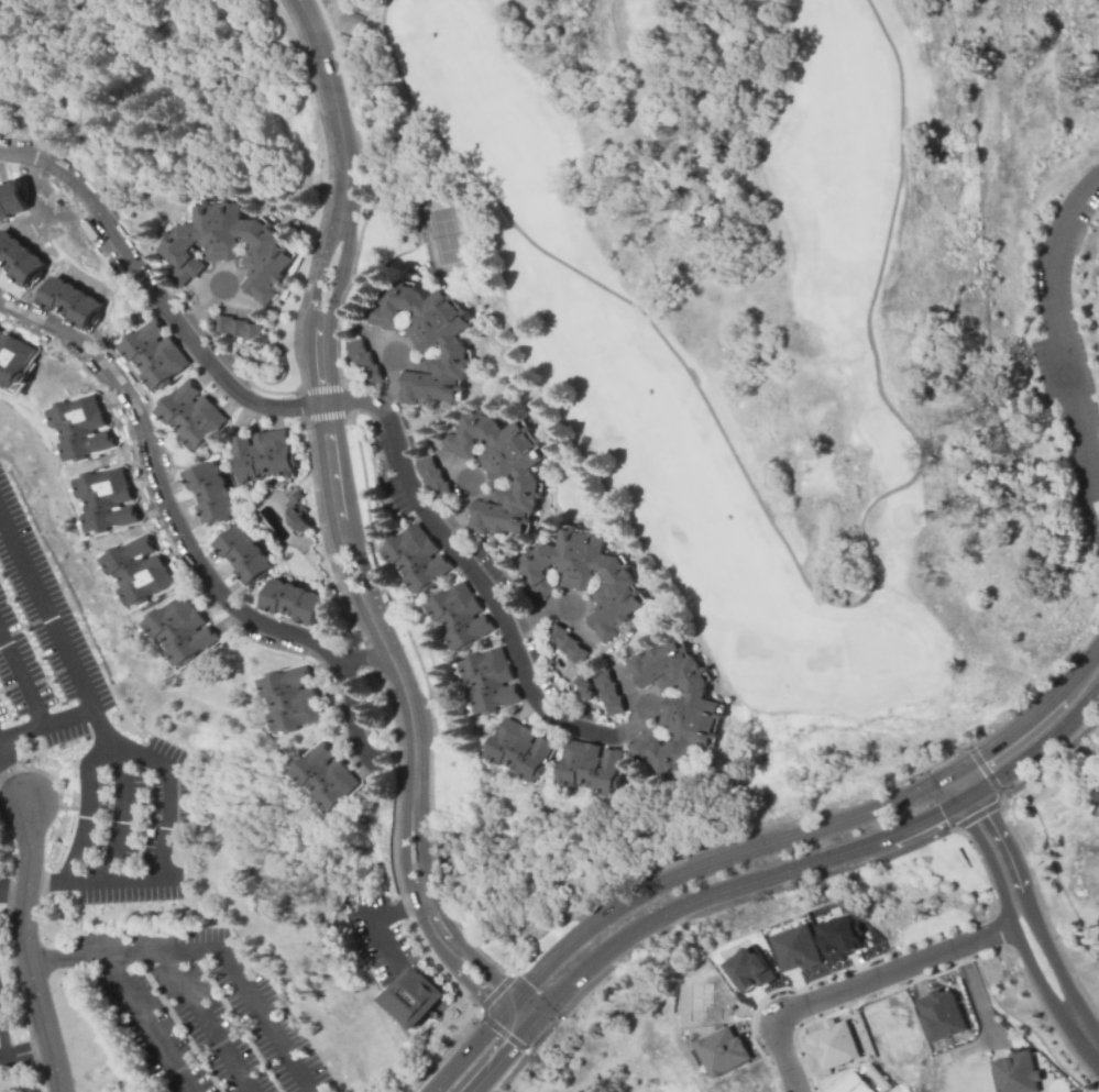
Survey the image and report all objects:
building: (354, 16)
road: (1085, 40)
road: (332, 108)
building: (403, 134)
building: (10, 201)
park: (442, 229)
building: (227, 247)
building: (18, 260)
park: (1047, 262)
road: (147, 290)
building: (69, 304)
road: (198, 308)
road: (1077, 311)
road: (310, 312)
building: (237, 328)
park: (716, 328)
building: (425, 338)
road: (1058, 348)
building: (152, 355)
building: (12, 360)
building: (363, 361)
road: (387, 386)
building: (190, 413)
road: (1087, 429)
building: (81, 430)
building: (262, 455)
building: (499, 472)
building: (433, 477)
road: (158, 489)
building: (206, 495)
building: (108, 499)
building: (297, 514)
road: (454, 515)
road: (333, 534)
building: (242, 555)
building: (413, 566)
building: (142, 569)
road: (801, 571)
building: (581, 577)
road: (473, 586)
building: (296, 606)
road: (537, 618)
building: (461, 619)
road: (46, 626)
road: (382, 627)
road: (24, 628)
road: (0, 631)
building: (183, 639)
building: (564, 642)
road: (359, 659)
building: (488, 682)
road: (34, 684)
building: (584, 686)
building: (606, 693)
road: (39, 695)
building: (293, 699)
building: (678, 710)
road: (352, 713)
road: (28, 732)
building: (520, 751)
road: (23, 766)
building: (589, 770)
road: (983, 772)
road: (10, 777)
building: (317, 782)
road: (86, 783)
road: (163, 796)
road: (61, 801)
road: (976, 814)
road: (124, 815)
road: (811, 831)
road: (402, 849)
road: (12, 859)
road: (822, 862)
parking lot: (120, 867)
road: (14, 895)
road: (1024, 915)
road: (525, 917)
road: (371, 922)
building: (837, 938)
road: (30, 948)
building: (793, 950)
road: (64, 959)
road: (229, 967)
building: (744, 972)
road: (866, 981)
road: (21, 994)
building: (414, 999)
road: (979, 999)
traffic signals: (514, 1000)
road: (505, 1008)
road: (524, 1008)
building: (938, 1013)
traffic signals: (497, 1017)
traffic signals: (534, 1017)
road: (201, 1021)
road: (139, 1023)
road: (507, 1025)
road: (525, 1025)
traffic signals: (517, 1034)
road: (2, 1040)
road: (211, 1040)
building: (831, 1046)
parking lot: (6, 1048)
road: (25, 1051)
road: (464, 1055)
building: (719, 1055)
road: (492, 1062)
building: (1013, 1072)
building: (860, 1083)

